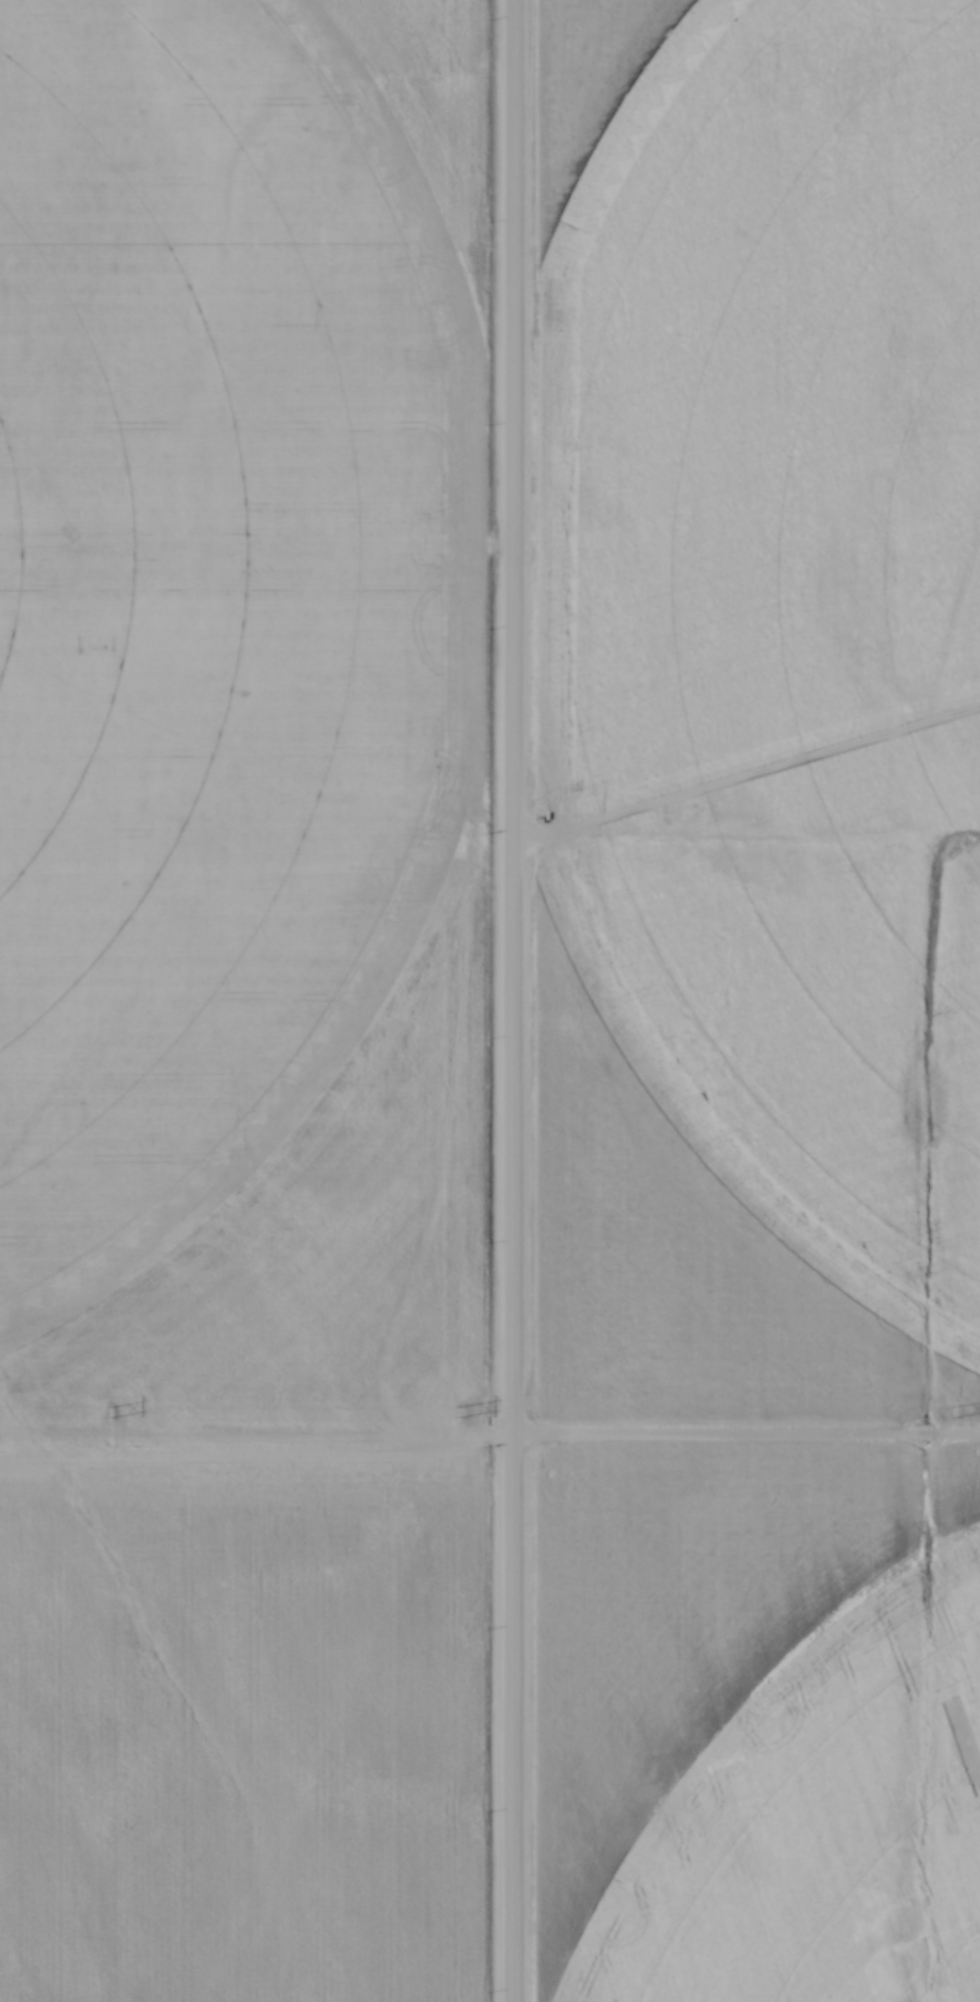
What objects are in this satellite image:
road: (516, 1000)
power tower: (959, 1411)
power tower: (117, 1413)
power tower: (467, 1413)

